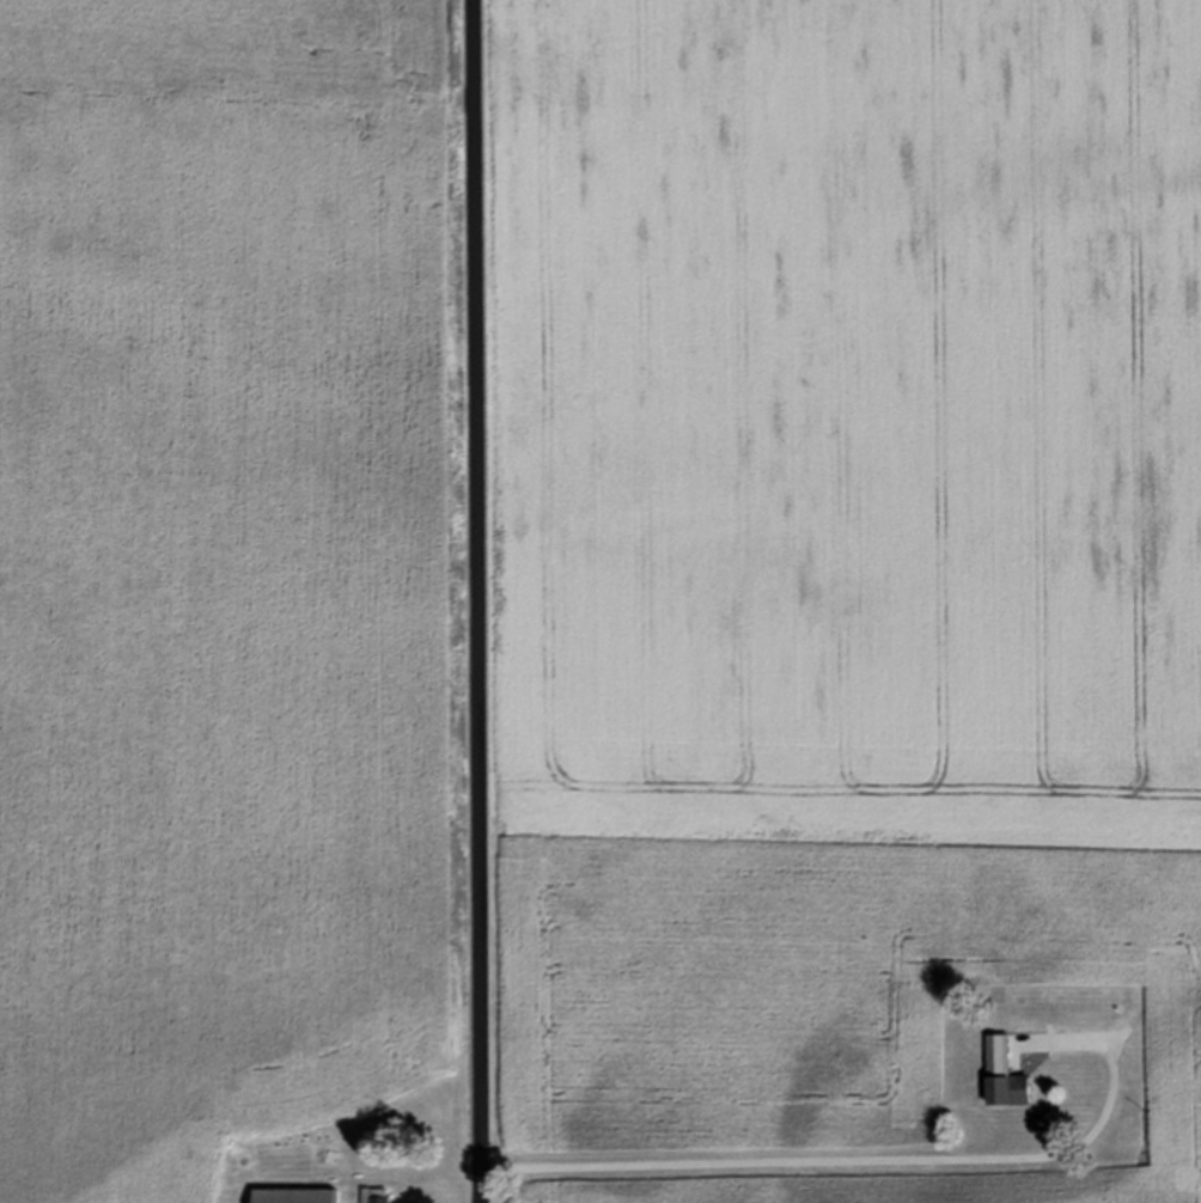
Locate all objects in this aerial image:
road: (473, 600)
building: (1006, 914)
building: (1006, 1074)
road: (870, 1159)
building: (295, 1195)
building: (379, 1198)

